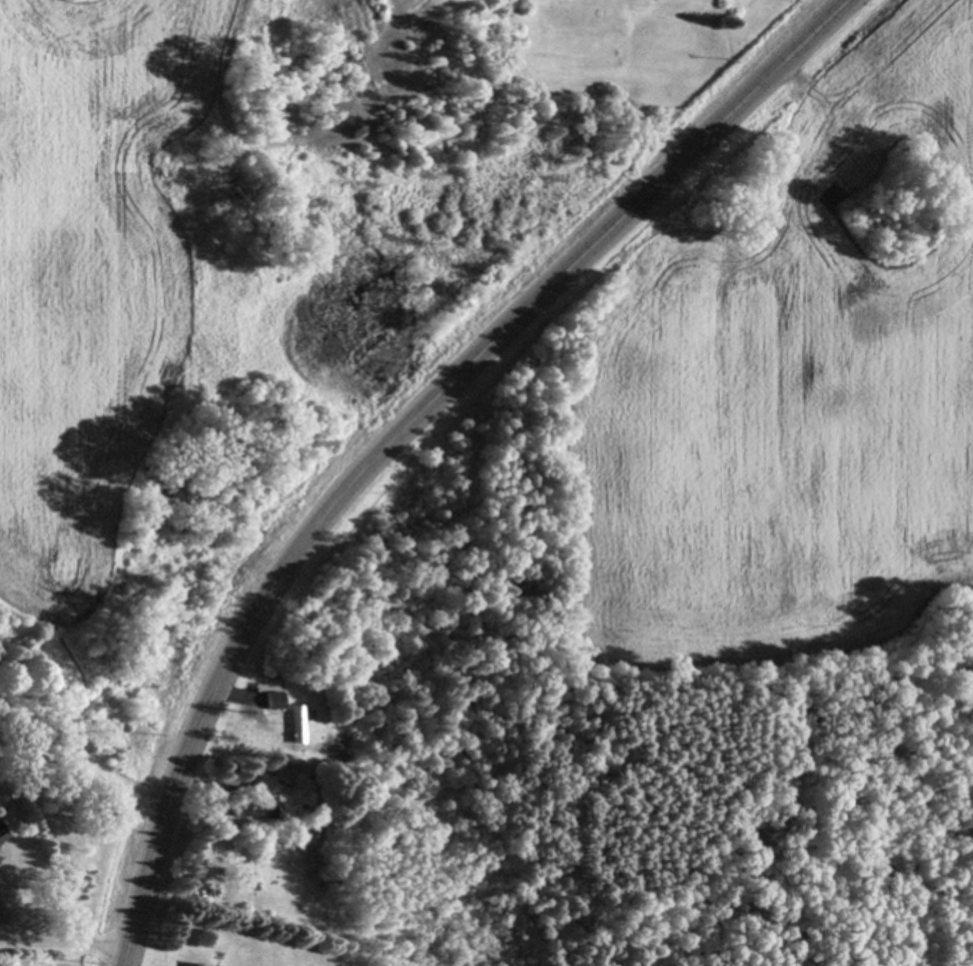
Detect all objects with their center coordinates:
road: (403, 428)
building: (273, 702)
building: (296, 726)
building: (256, 802)
building: (0, 835)
road: (200, 857)
road: (68, 940)
building: (197, 965)

